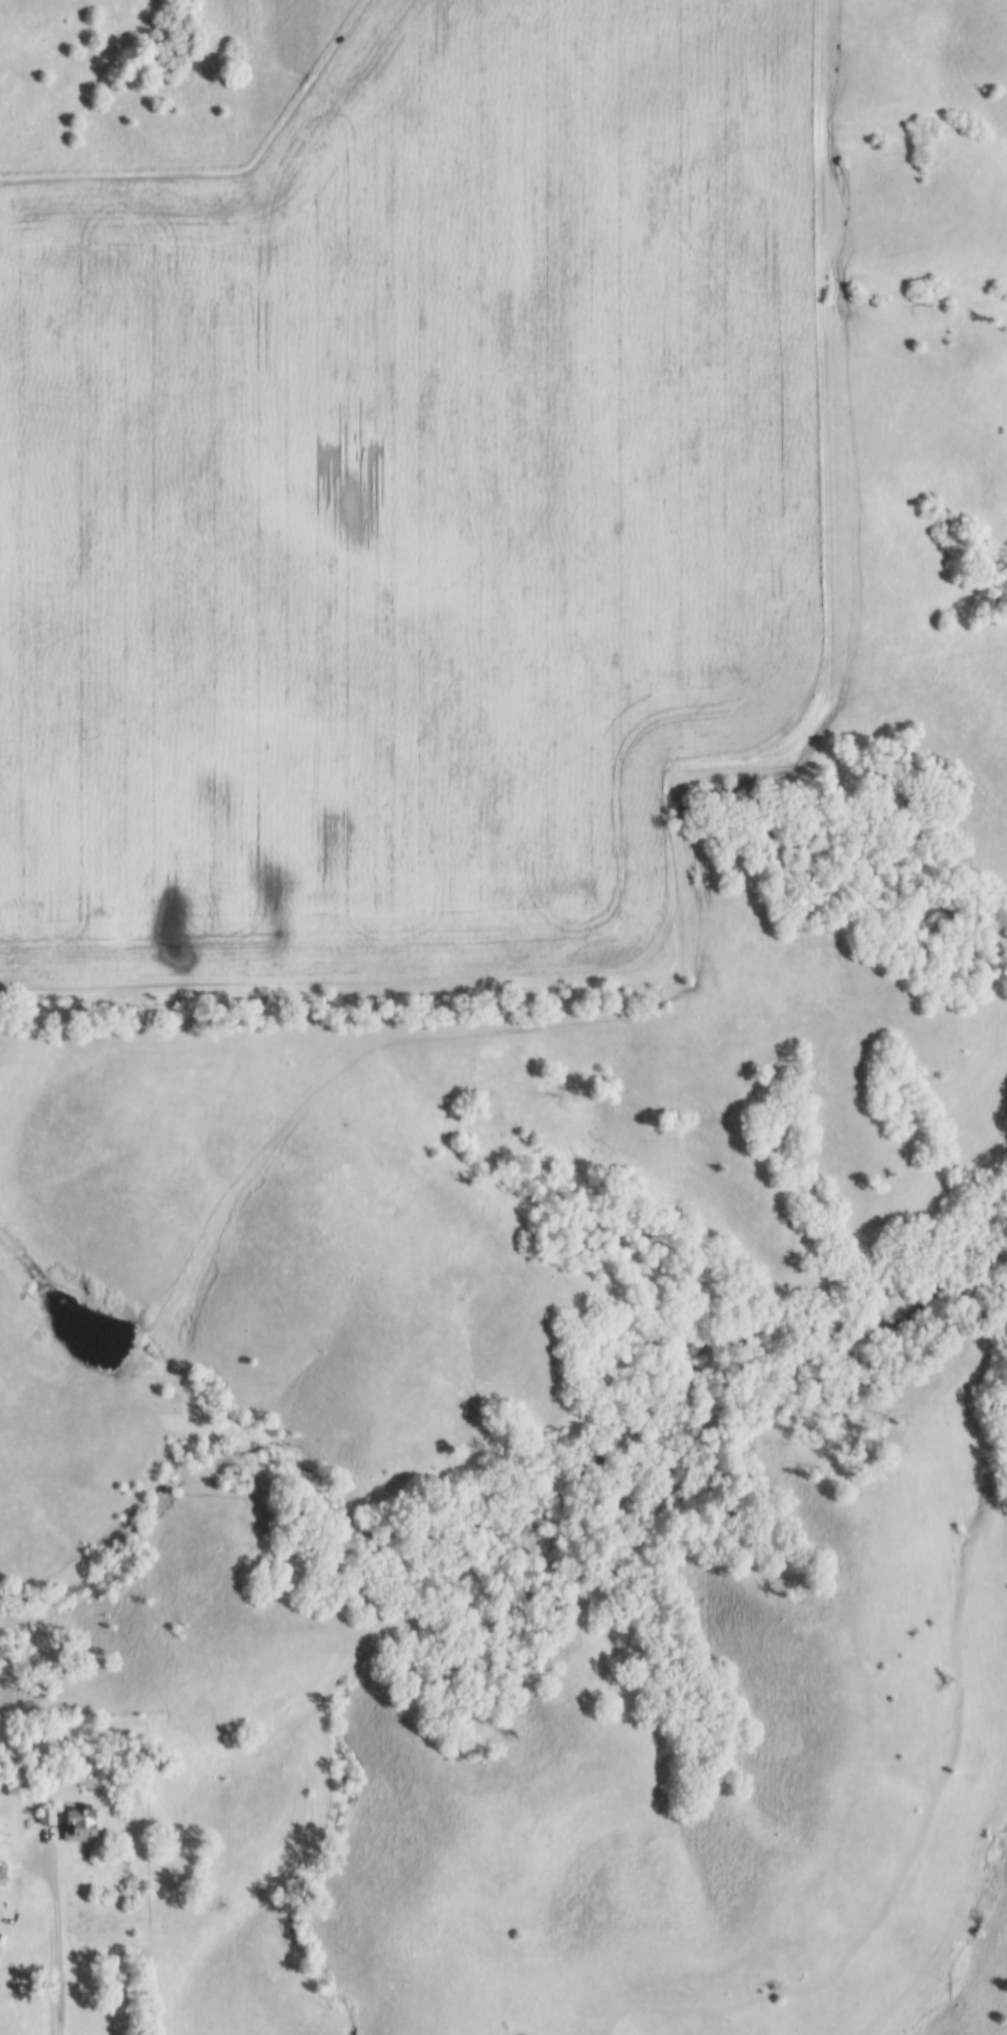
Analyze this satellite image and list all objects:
building: (46, 1814)
building: (80, 1818)
building: (1, 1875)

